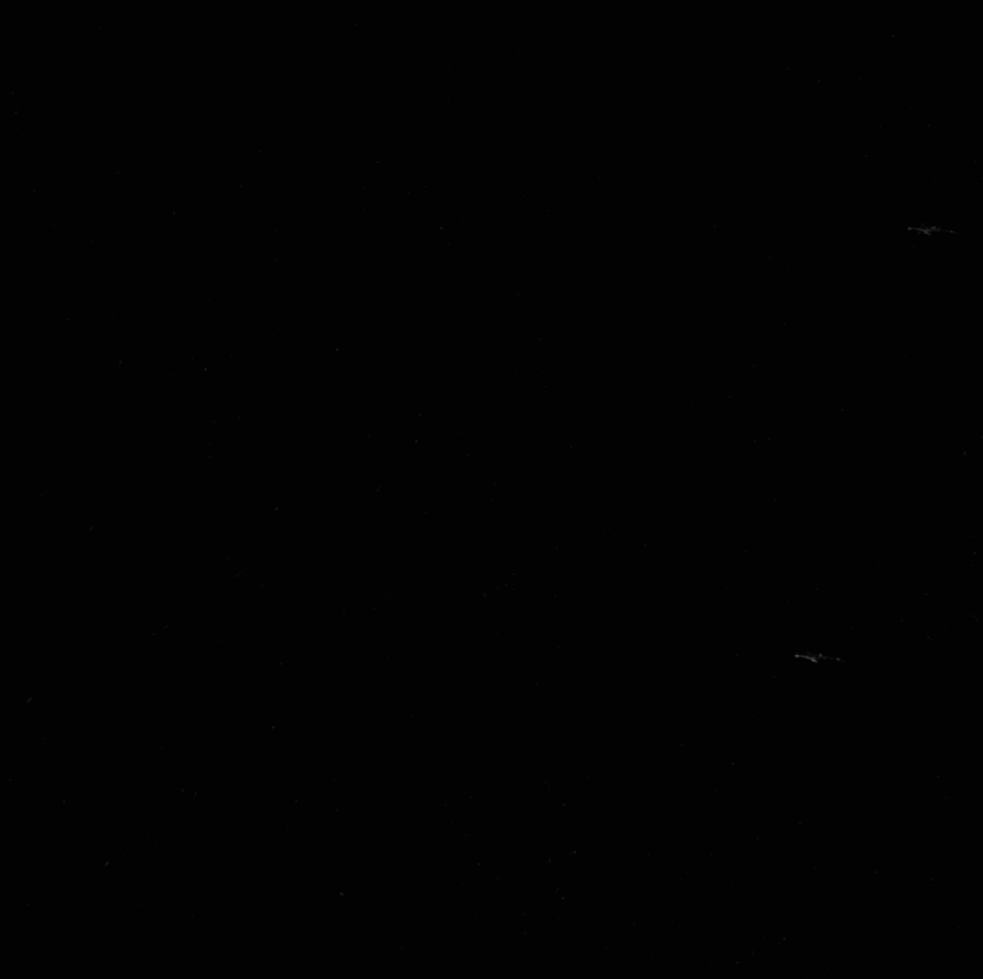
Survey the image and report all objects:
power tower: (911, 233)
power tower: (800, 663)

